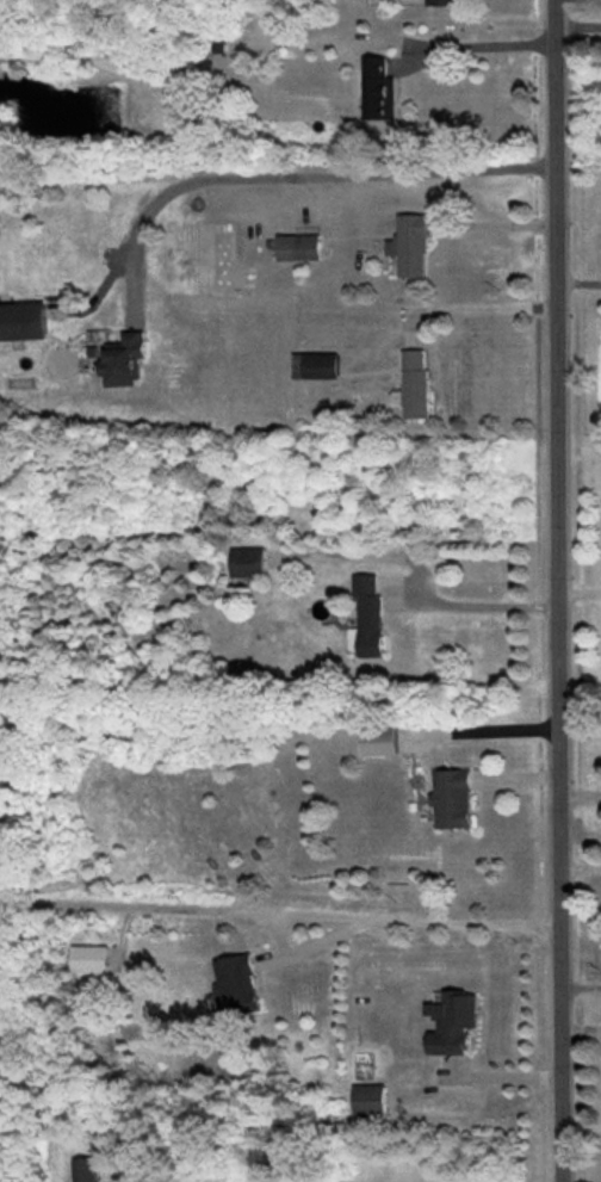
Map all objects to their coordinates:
building: (442, 2)
road: (578, 33)
road: (489, 54)
building: (379, 89)
road: (299, 186)
building: (411, 246)
building: (299, 247)
road: (578, 281)
road: (473, 316)
building: (23, 321)
building: (316, 365)
building: (414, 385)
building: (248, 562)
road: (558, 590)
road: (580, 593)
road: (481, 614)
building: (368, 617)
road: (482, 729)
building: (380, 742)
building: (454, 798)
road: (581, 841)
road: (438, 932)
building: (91, 959)
building: (240, 985)
road: (582, 989)
building: (454, 1023)
building: (370, 1099)
building: (85, 1170)

